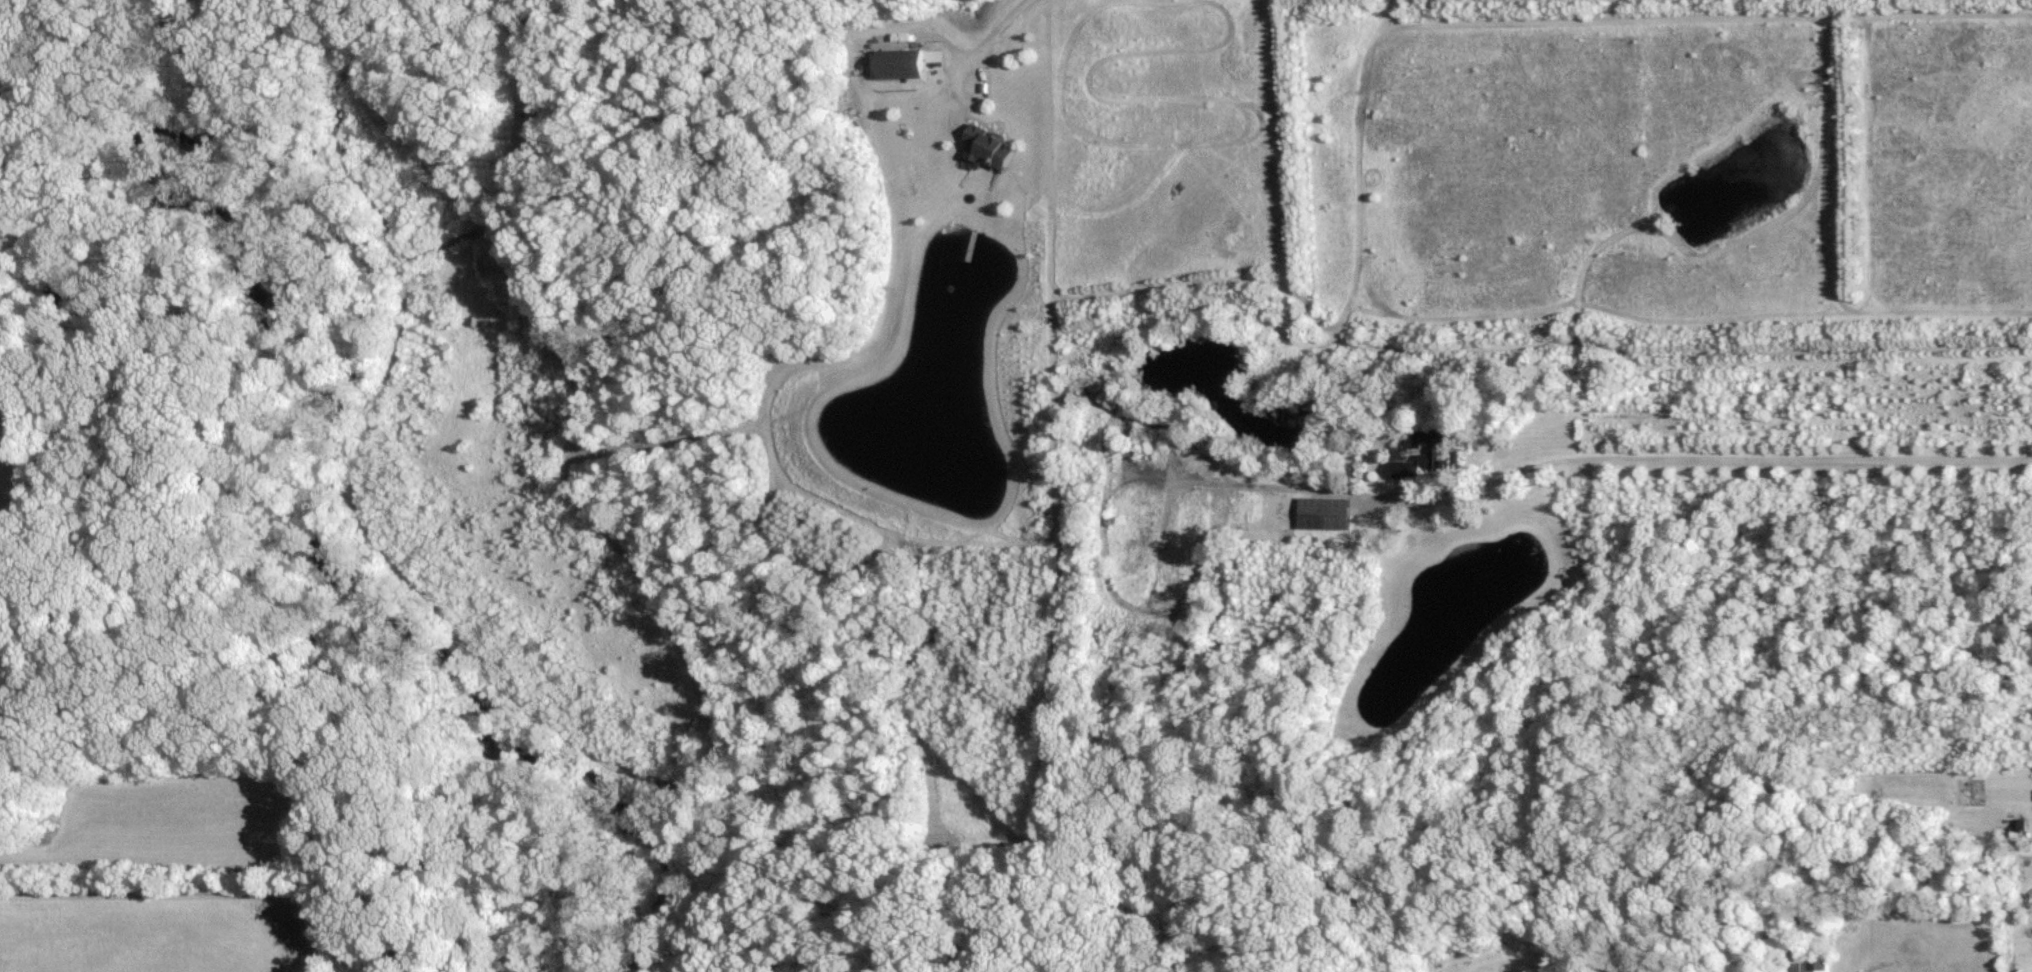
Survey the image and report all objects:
road: (983, 44)
building: (906, 62)
building: (993, 145)
building: (1448, 458)
road: (1711, 458)
building: (1411, 468)
building: (1334, 511)
building: (1820, 966)

